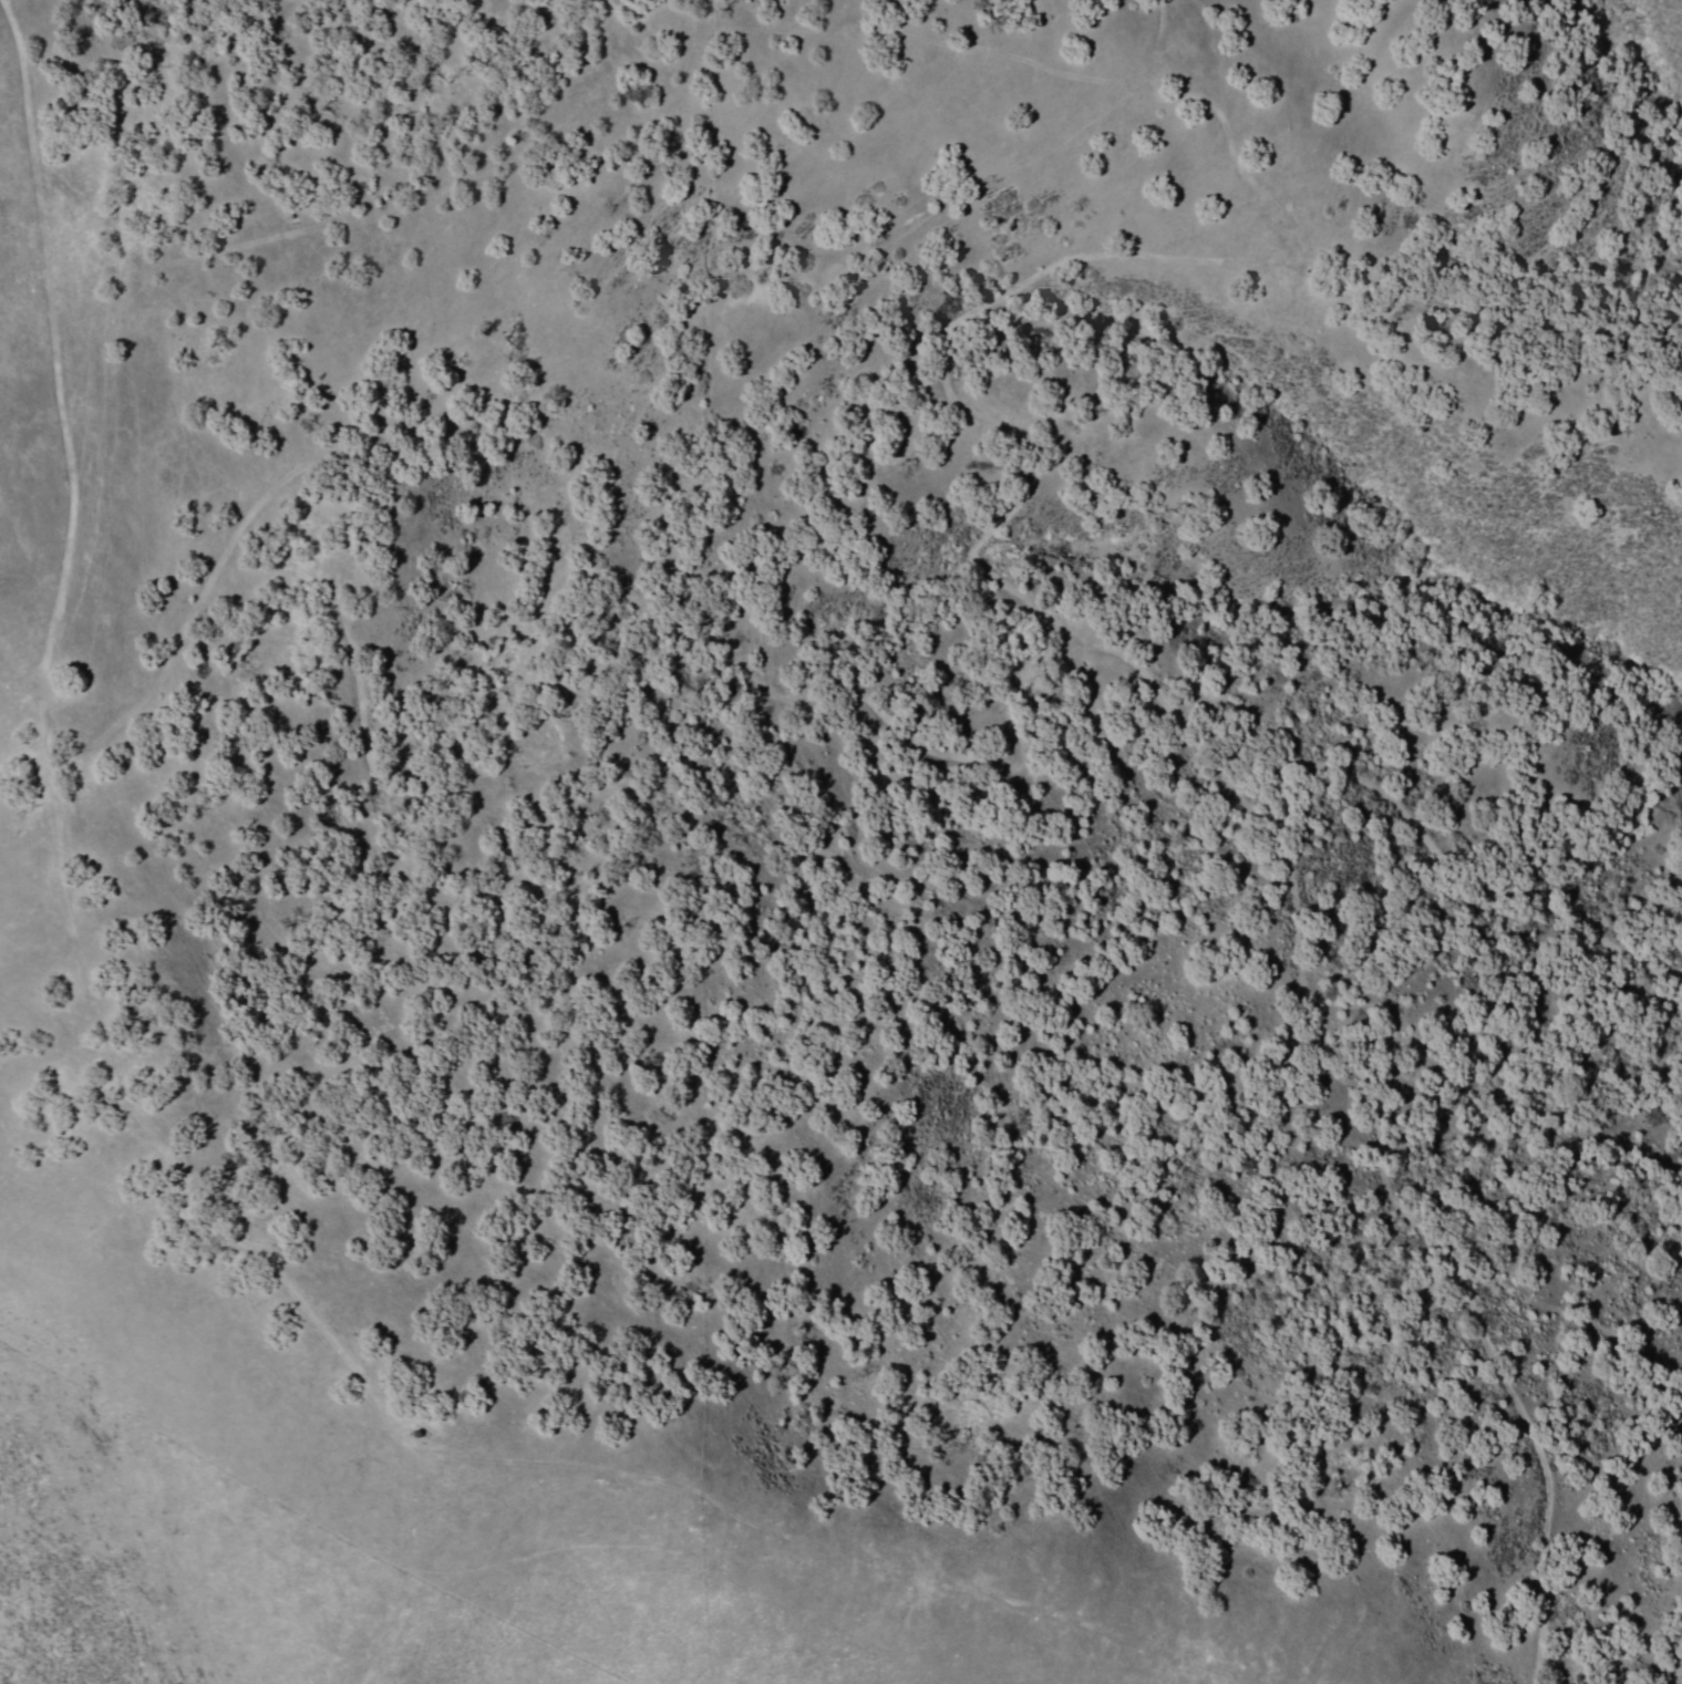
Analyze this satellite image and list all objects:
road: (1395, 814)
road: (1396, 1220)

